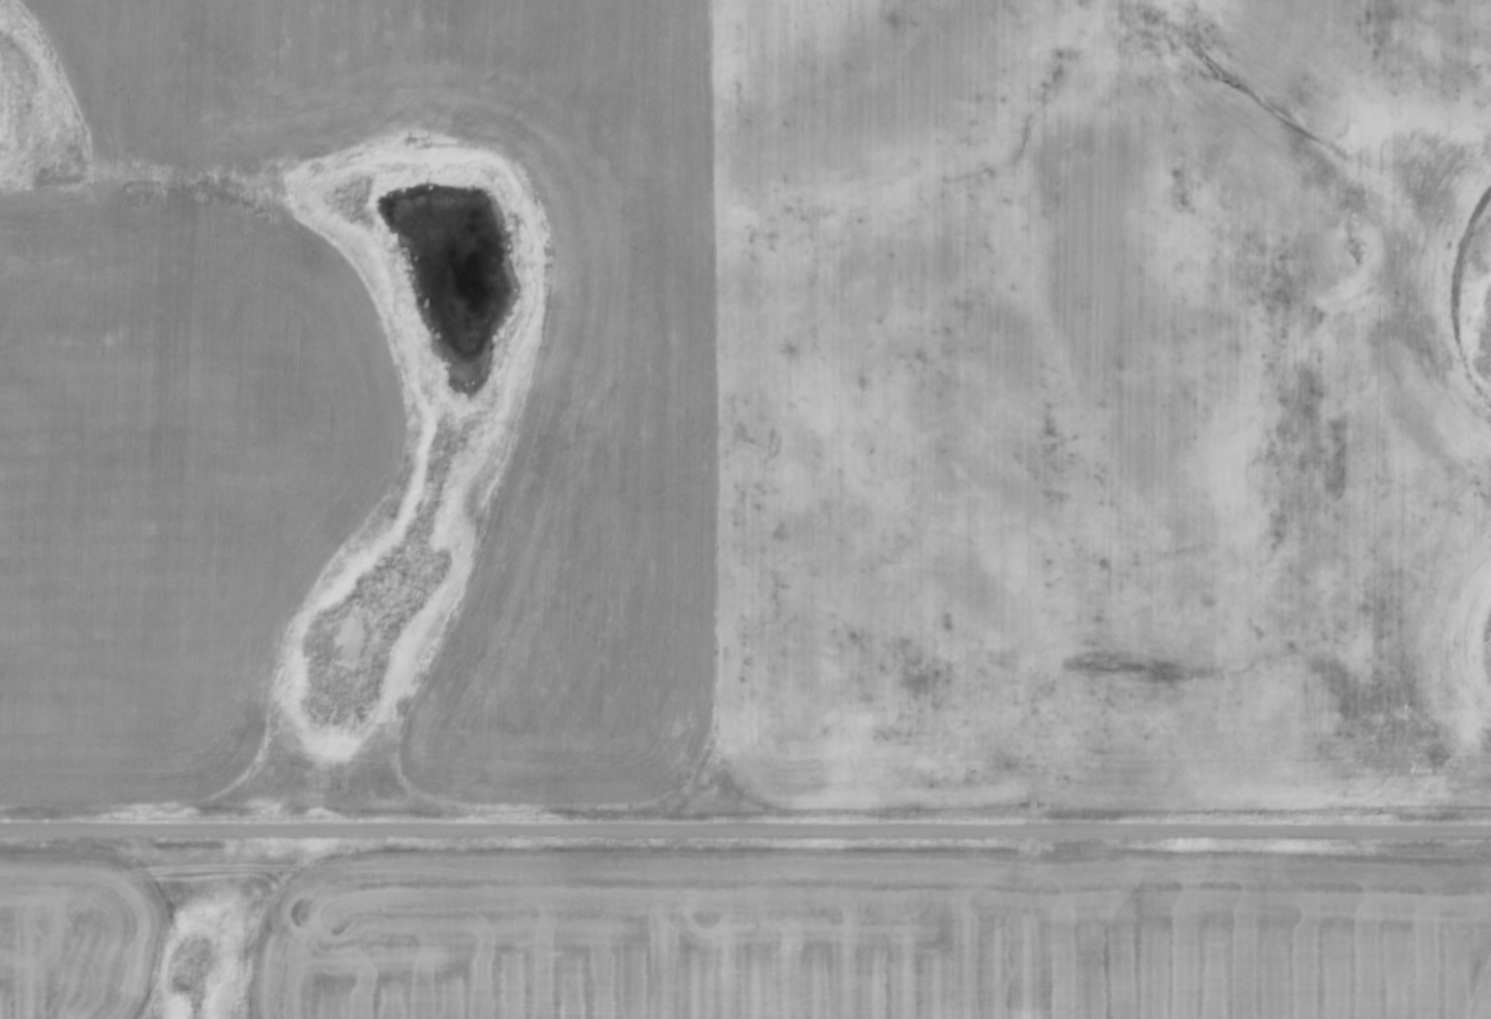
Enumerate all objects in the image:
road: (745, 832)

